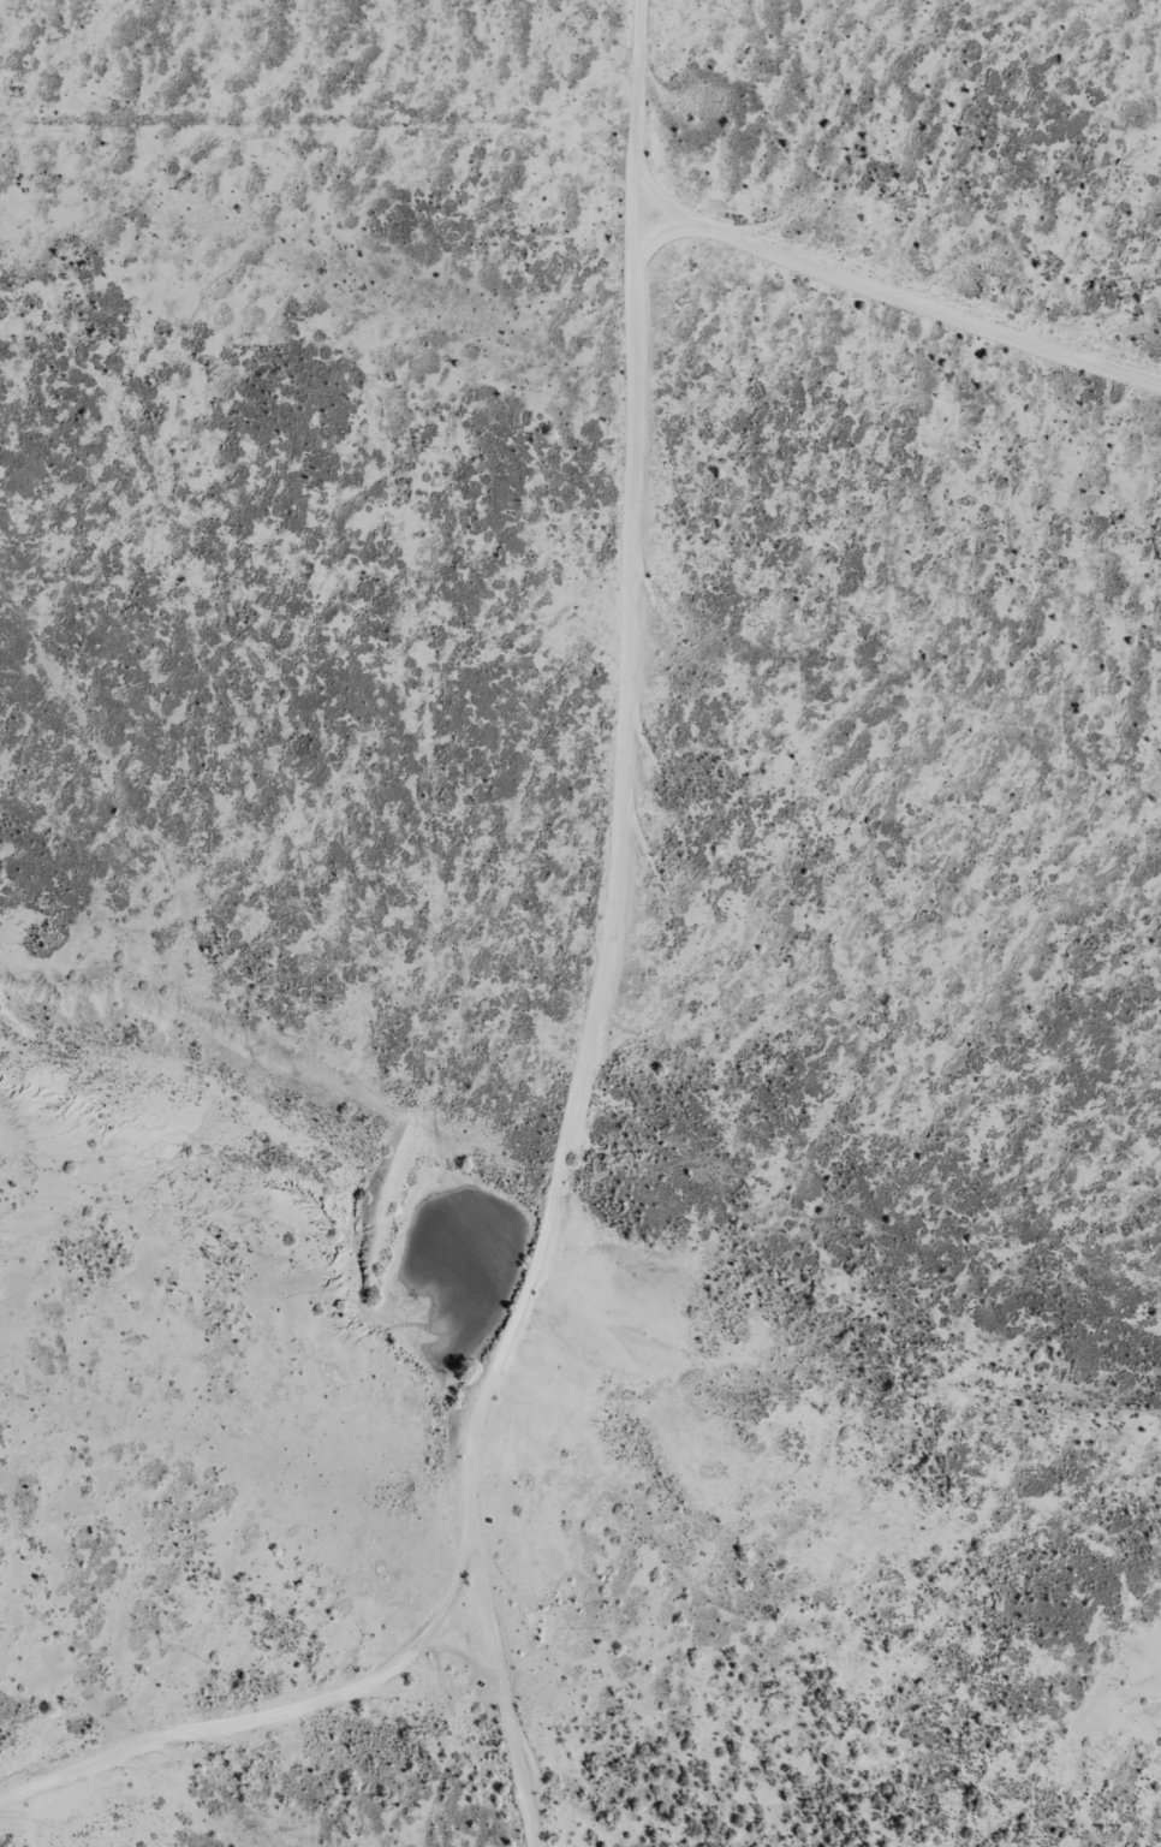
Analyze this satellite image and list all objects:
road: (322, 138)
road: (889, 313)
road: (591, 934)
road: (240, 1757)

